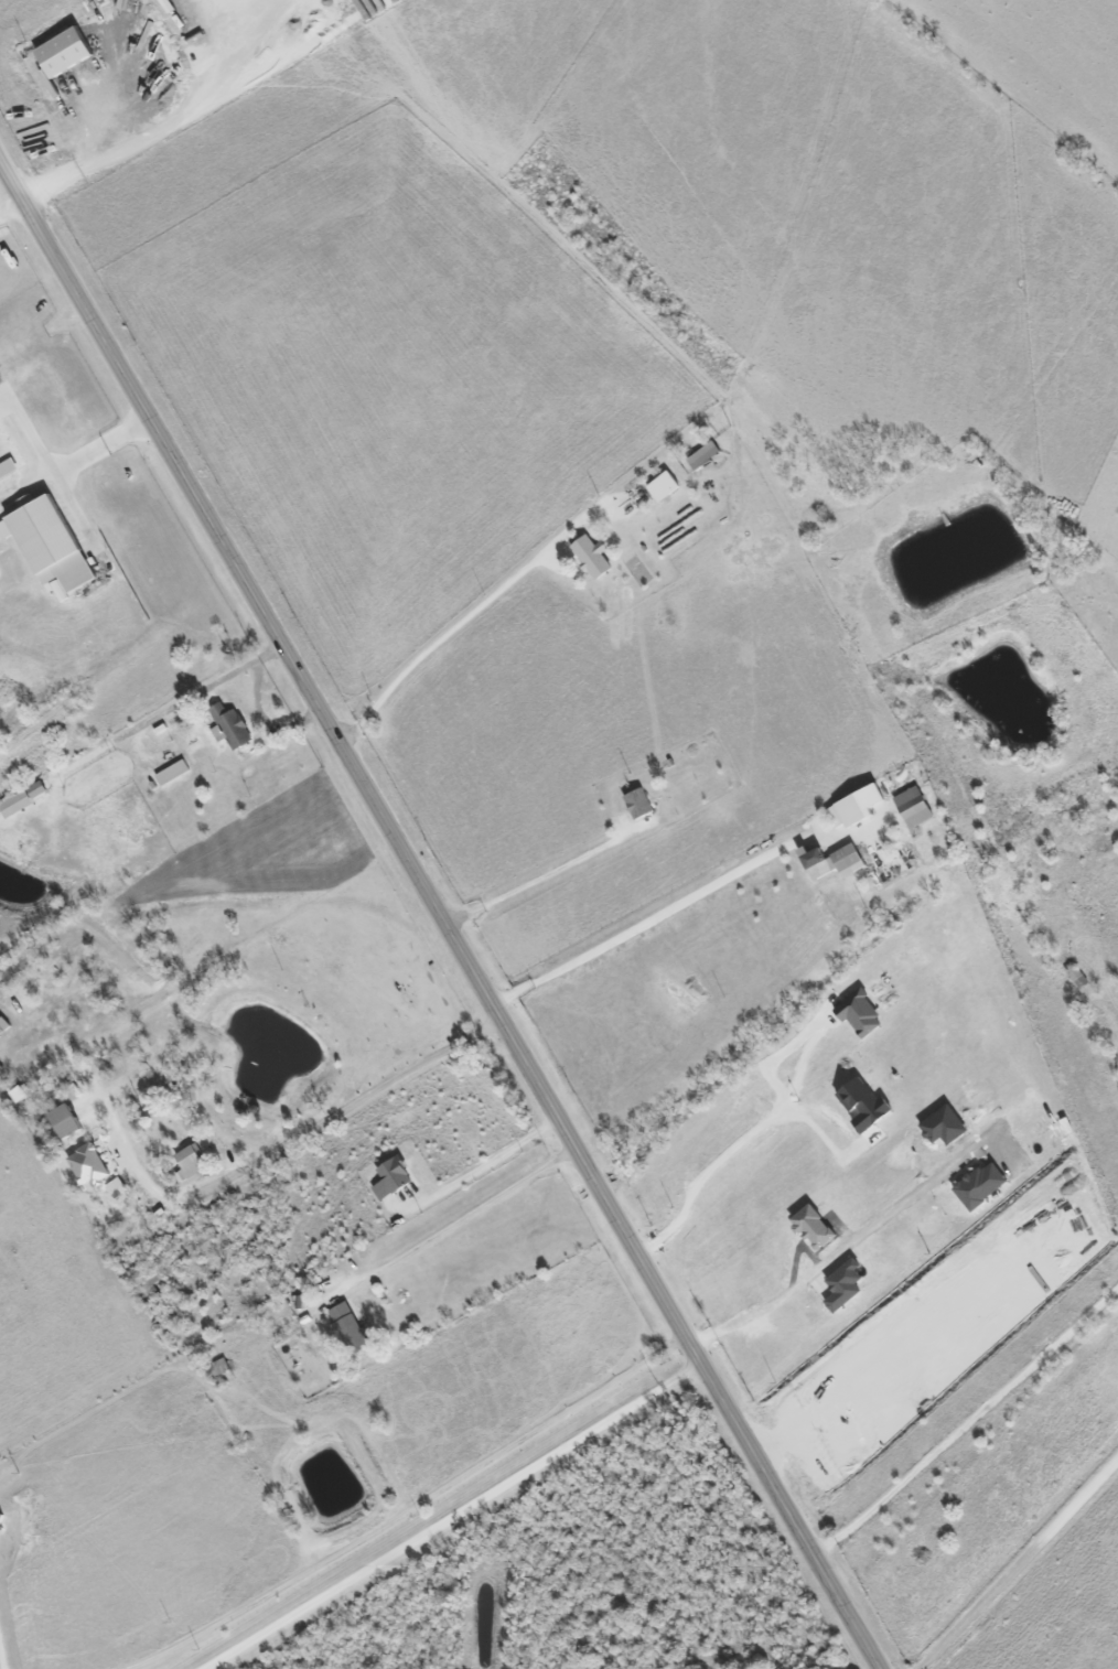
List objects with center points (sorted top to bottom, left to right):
road: (14, 214)
road: (29, 433)
road: (107, 450)
building: (703, 459)
road: (26, 487)
building: (663, 492)
building: (638, 499)
road: (76, 509)
building: (64, 590)
road: (436, 649)
road: (171, 711)
road: (268, 722)
building: (234, 730)
building: (173, 775)
building: (637, 803)
building: (854, 806)
building: (913, 806)
building: (832, 861)
road: (537, 883)
road: (441, 911)
road: (657, 918)
building: (860, 1013)
building: (863, 1107)
building: (65, 1127)
road: (289, 1141)
road: (739, 1143)
road: (488, 1163)
building: (191, 1165)
building: (87, 1170)
building: (393, 1181)
building: (117, 1192)
road: (476, 1208)
building: (813, 1227)
road: (832, 1253)
building: (350, 1331)
road: (968, 1422)
road: (411, 1507)
road: (458, 1516)
road: (1020, 1562)

